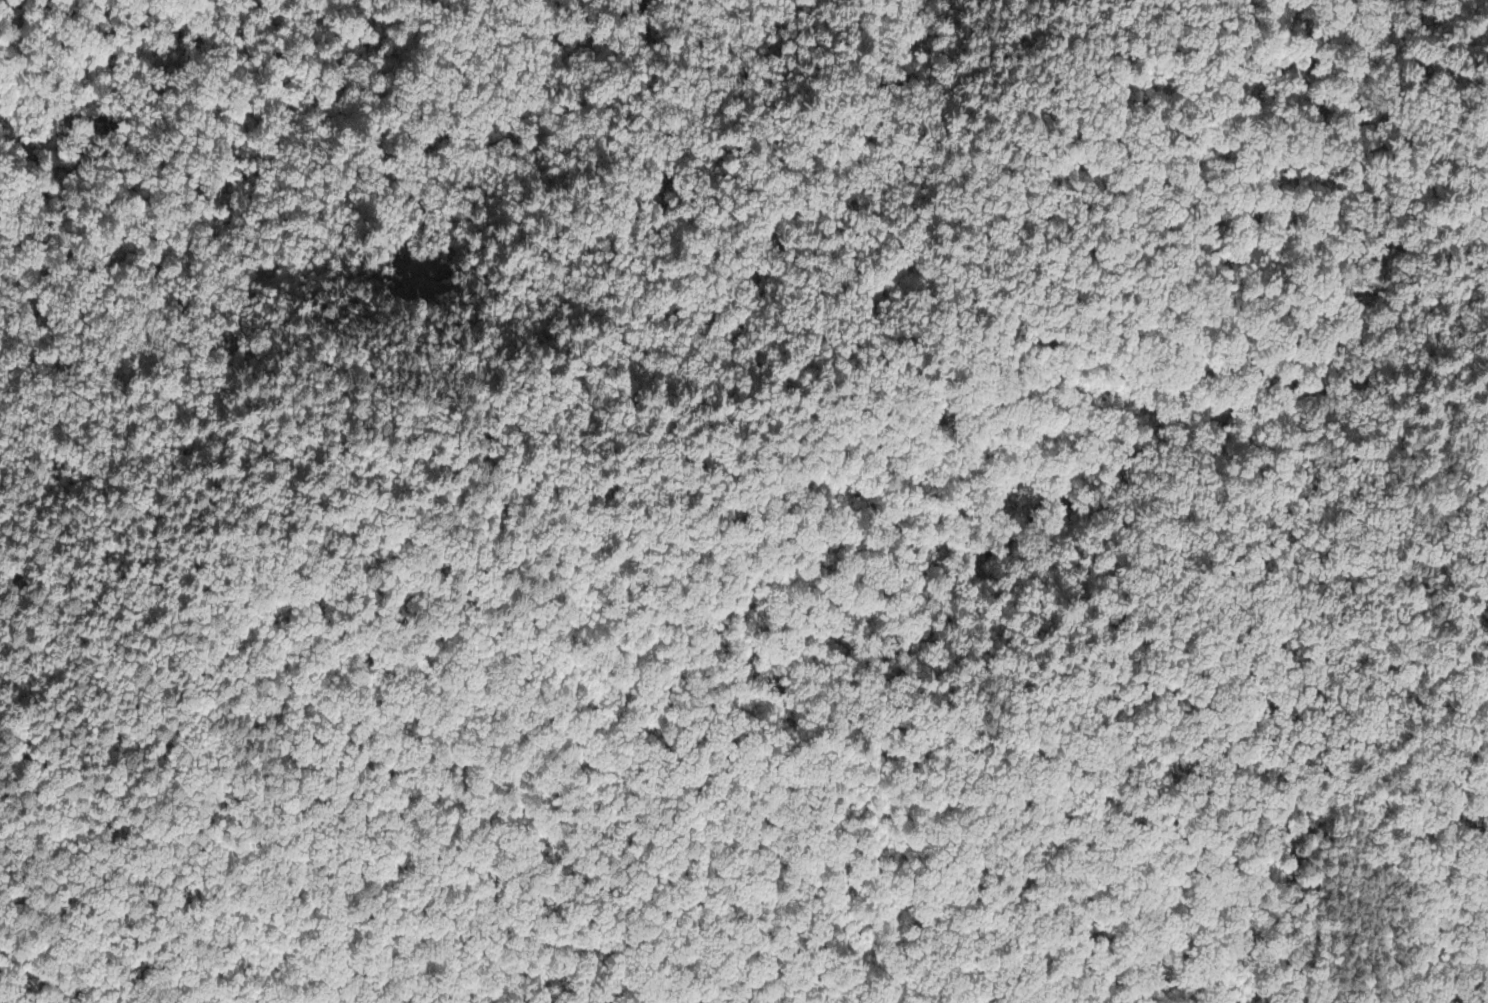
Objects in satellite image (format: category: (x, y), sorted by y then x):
road: (1452, 235)
road: (1311, 512)
road: (1379, 562)

